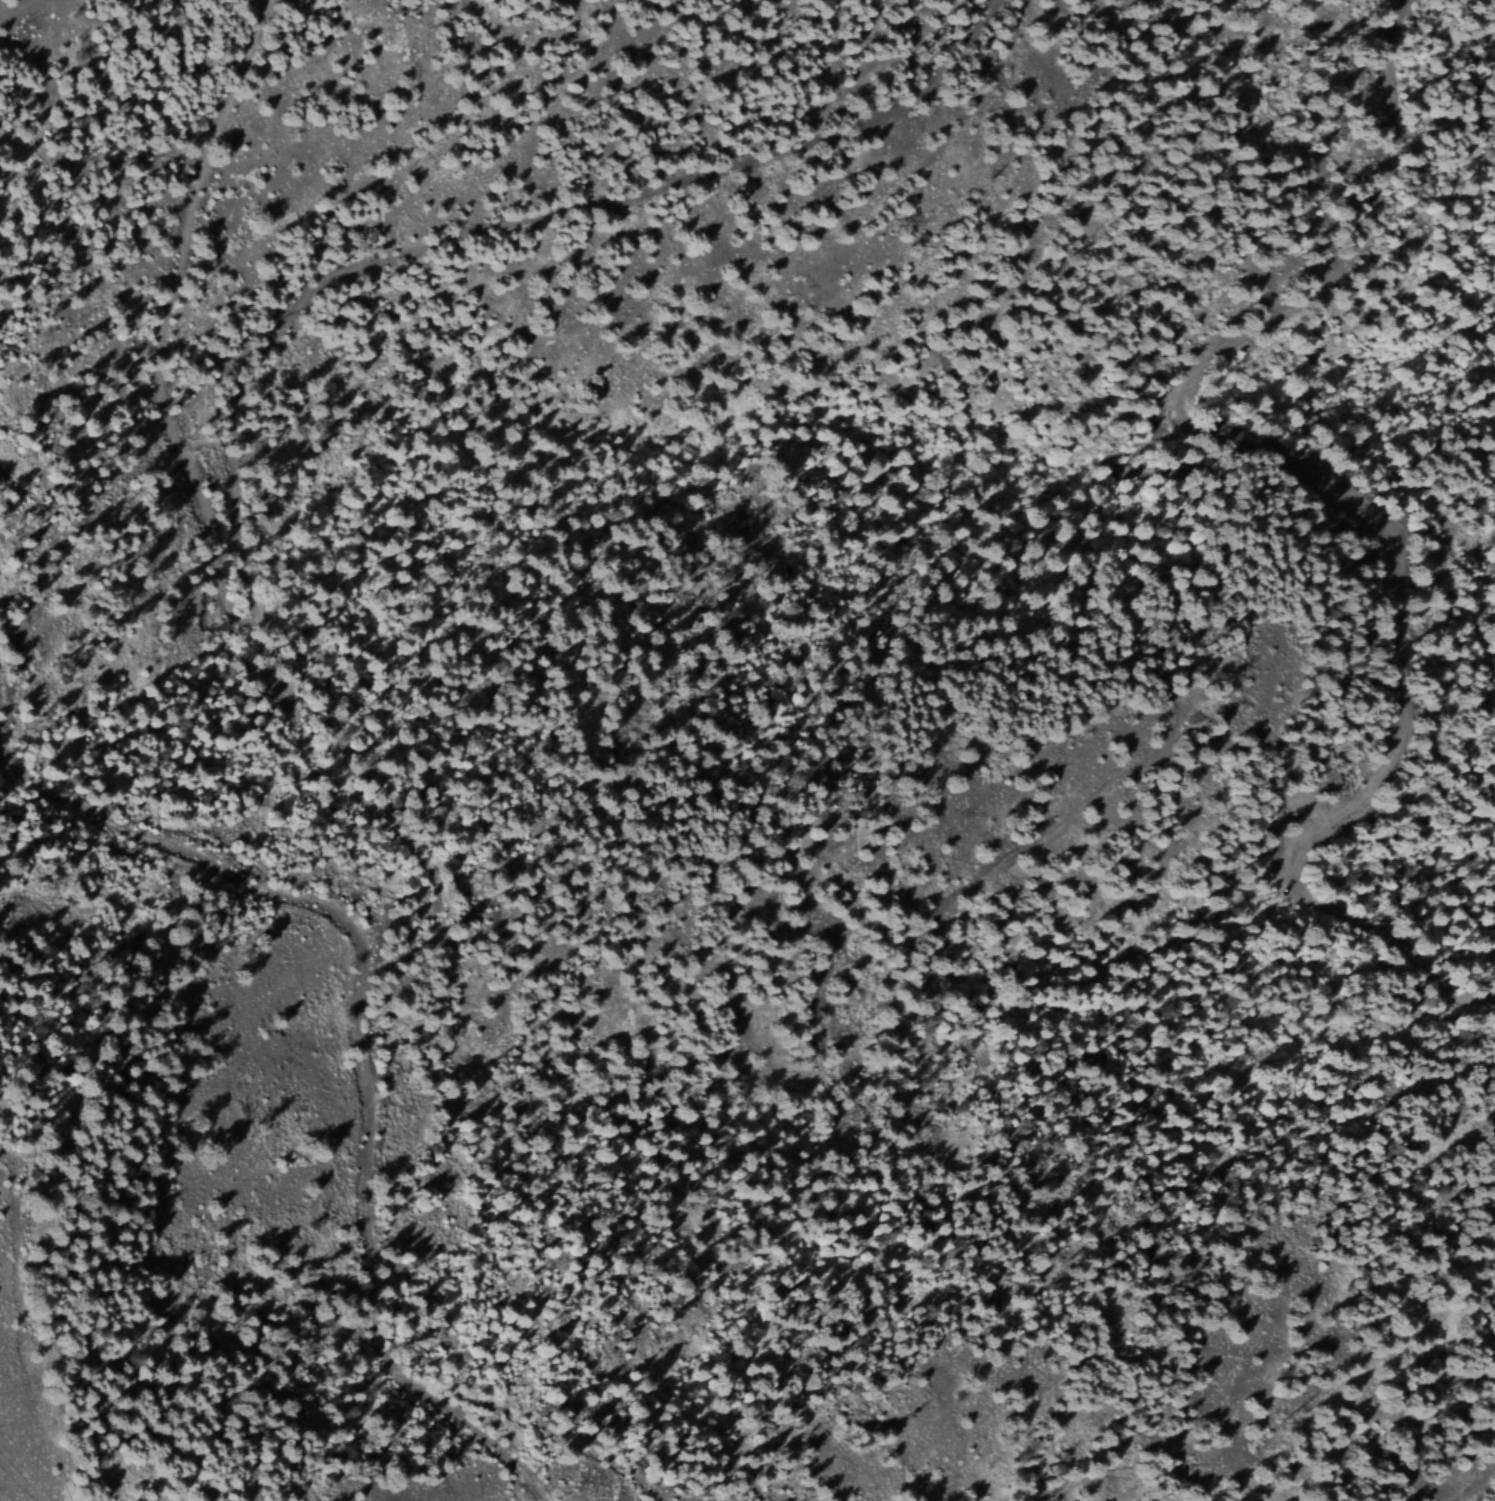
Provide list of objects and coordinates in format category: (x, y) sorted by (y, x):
road: (1310, 544)

